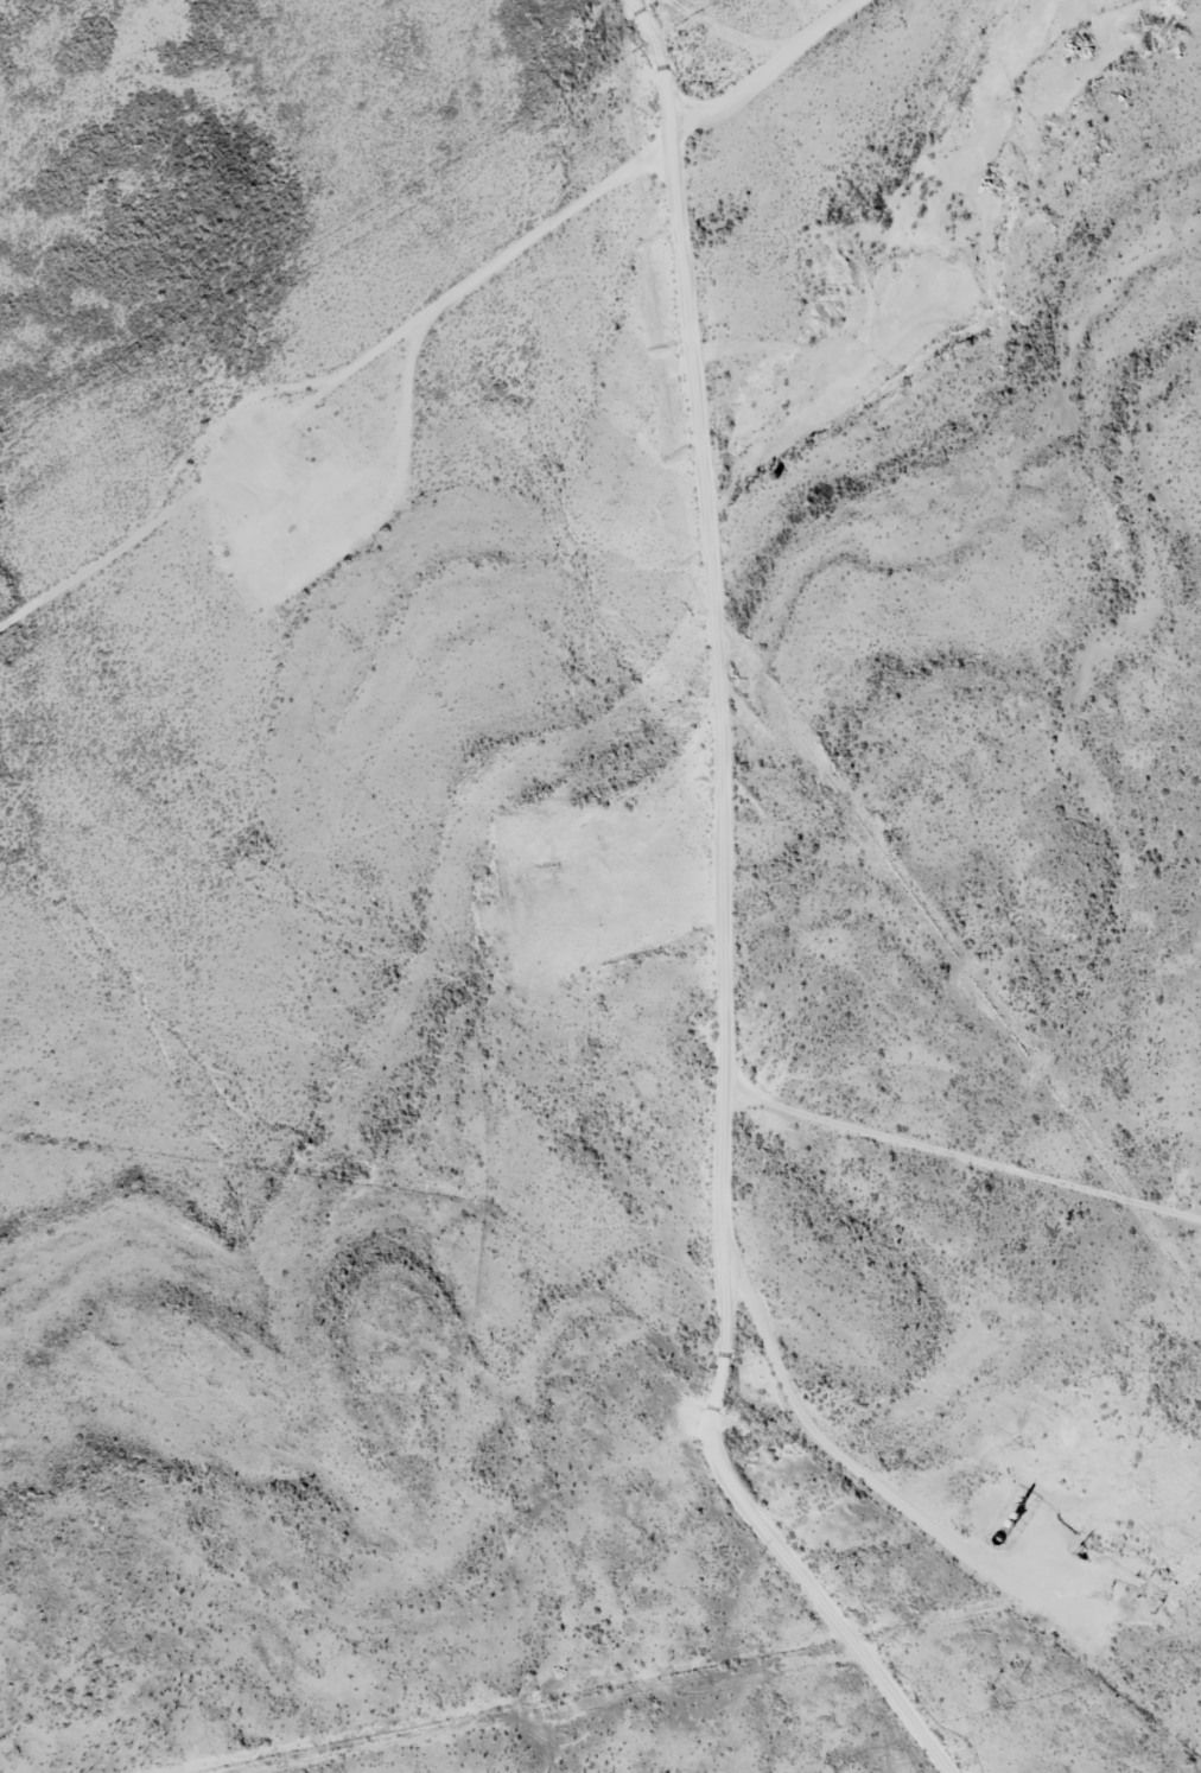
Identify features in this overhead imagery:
road: (460, 325)
road: (706, 903)

